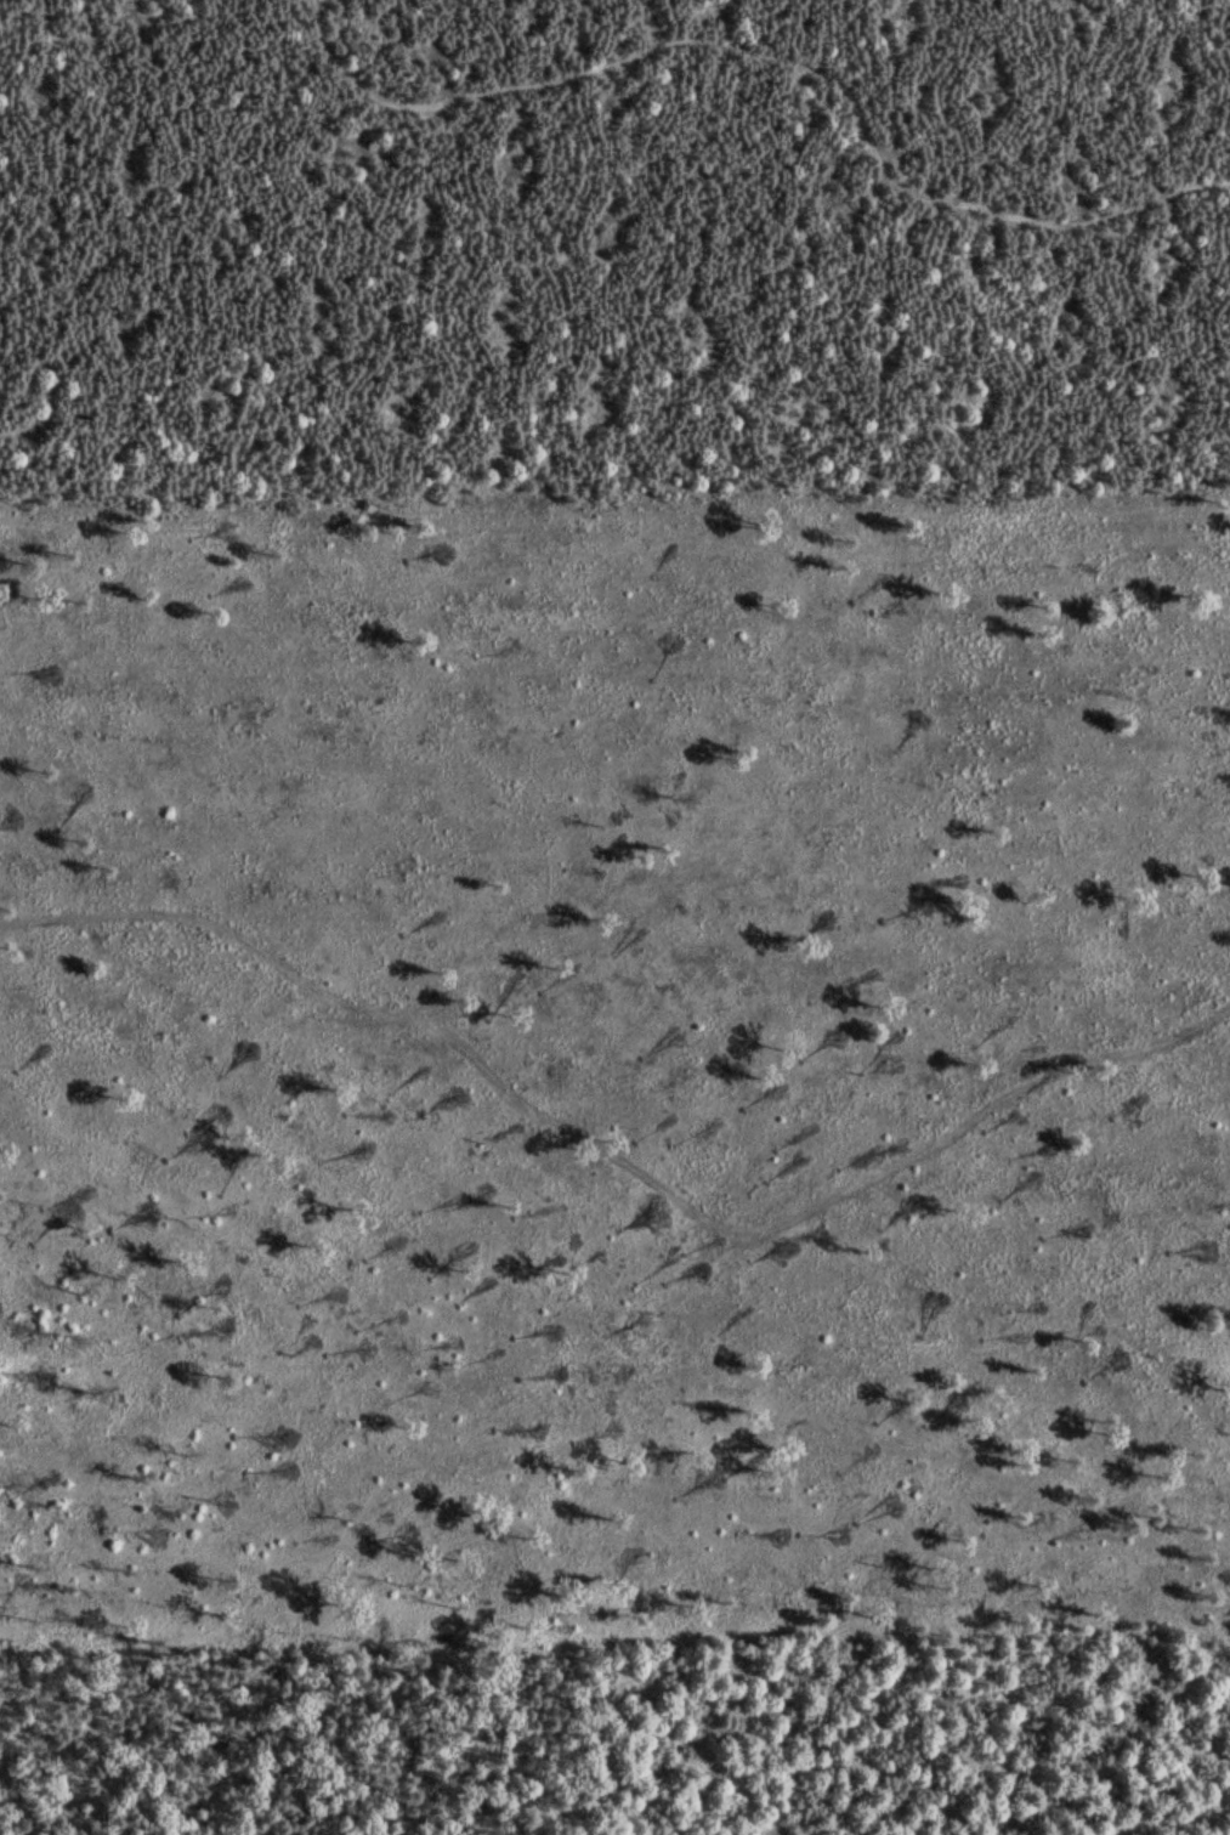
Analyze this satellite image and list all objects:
road: (771, 58)

